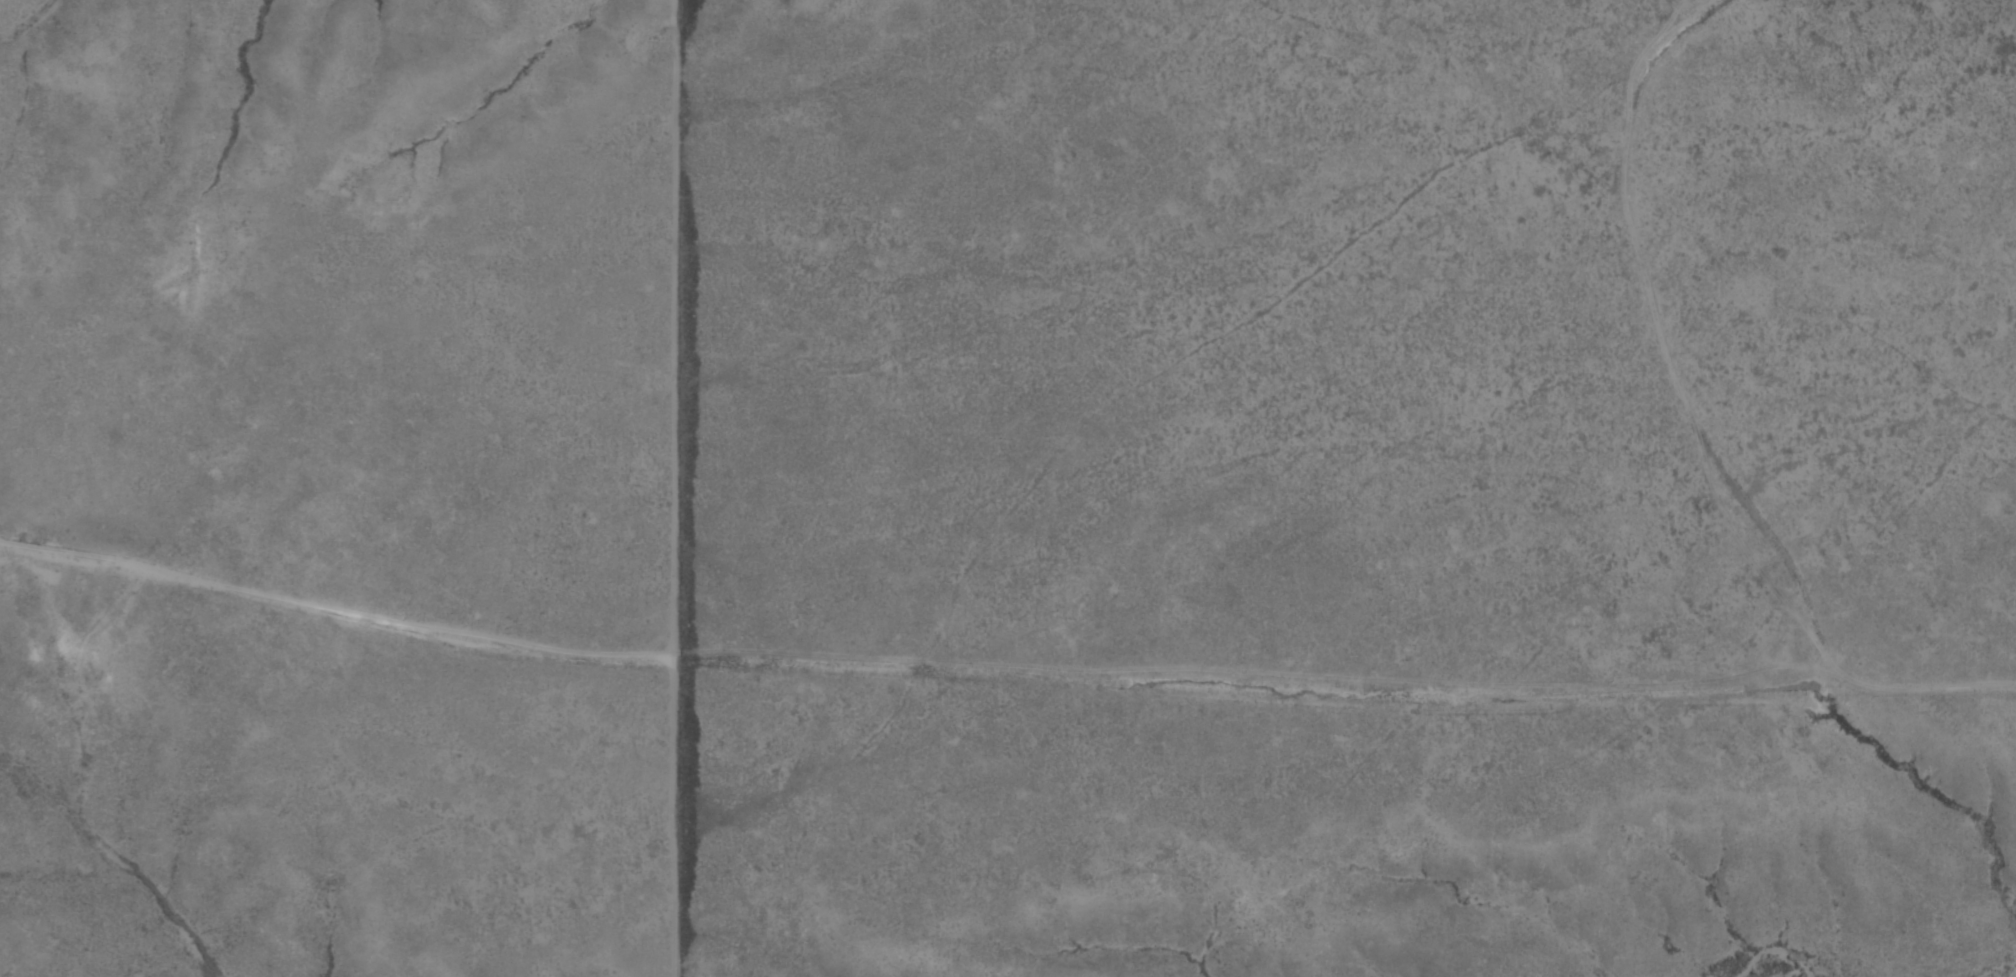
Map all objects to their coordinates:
road: (1689, 423)

